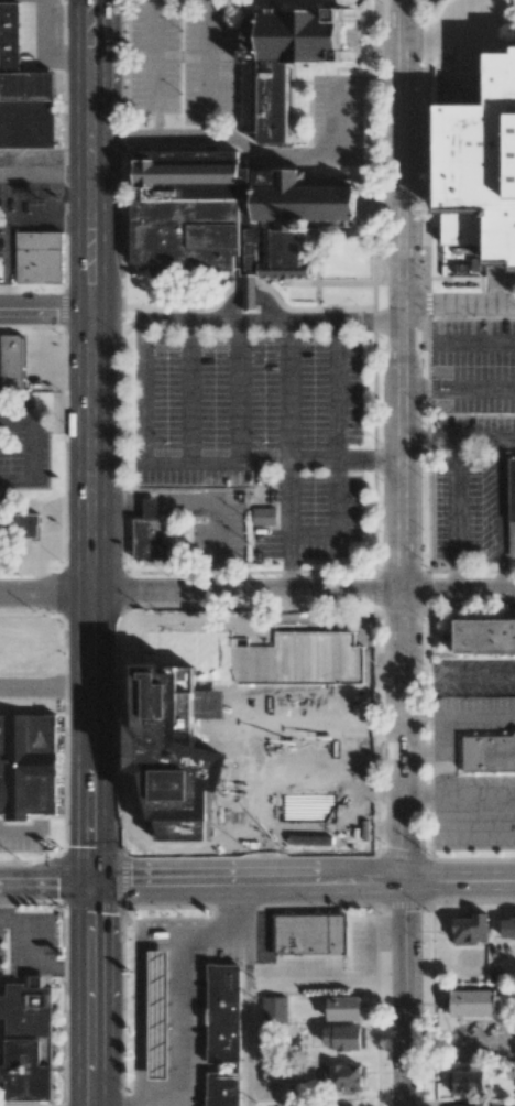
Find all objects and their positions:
road: (206, 2)
parking lot: (492, 21)
road: (457, 36)
parking lot: (153, 56)
building: (283, 58)
parking lot: (207, 67)
road: (152, 68)
road: (206, 69)
road: (369, 80)
building: (23, 89)
road: (336, 117)
parking lot: (336, 119)
road: (216, 135)
building: (483, 162)
road: (45, 173)
parking lot: (30, 196)
building: (228, 214)
building: (39, 257)
road: (249, 297)
road: (458, 303)
road: (45, 311)
road: (271, 322)
road: (463, 344)
building: (12, 361)
parking lot: (43, 361)
parking lot: (474, 362)
road: (458, 388)
road: (140, 391)
road: (188, 391)
road: (237, 391)
road: (288, 391)
road: (335, 392)
parking lot: (254, 429)
parking lot: (472, 432)
road: (458, 437)
road: (402, 440)
road: (90, 441)
parking lot: (20, 452)
road: (199, 462)
road: (330, 462)
road: (336, 499)
road: (153, 502)
building: (511, 507)
parking lot: (468, 508)
road: (288, 512)
building: (262, 516)
building: (26, 524)
parking lot: (216, 529)
road: (311, 536)
building: (149, 540)
road: (216, 549)
road: (288, 578)
road: (257, 594)
building: (487, 636)
building: (291, 643)
building: (226, 644)
building: (333, 650)
parking lot: (473, 677)
road: (45, 691)
building: (333, 701)
parking lot: (473, 713)
building: (239, 717)
building: (486, 753)
building: (29, 765)
parking lot: (474, 812)
road: (19, 833)
parking lot: (21, 837)
road: (303, 880)
road: (45, 881)
traffic signals: (91, 882)
building: (507, 926)
building: (470, 929)
building: (310, 934)
road: (326, 982)
road: (248, 993)
road: (405, 993)
road: (91, 994)
building: (474, 1001)
building: (343, 1007)
building: (157, 1013)
building: (226, 1013)
building: (344, 1038)
building: (29, 1039)
road: (460, 1039)
building: (342, 1075)
building: (465, 1081)
building: (224, 1089)
building: (470, 1105)

